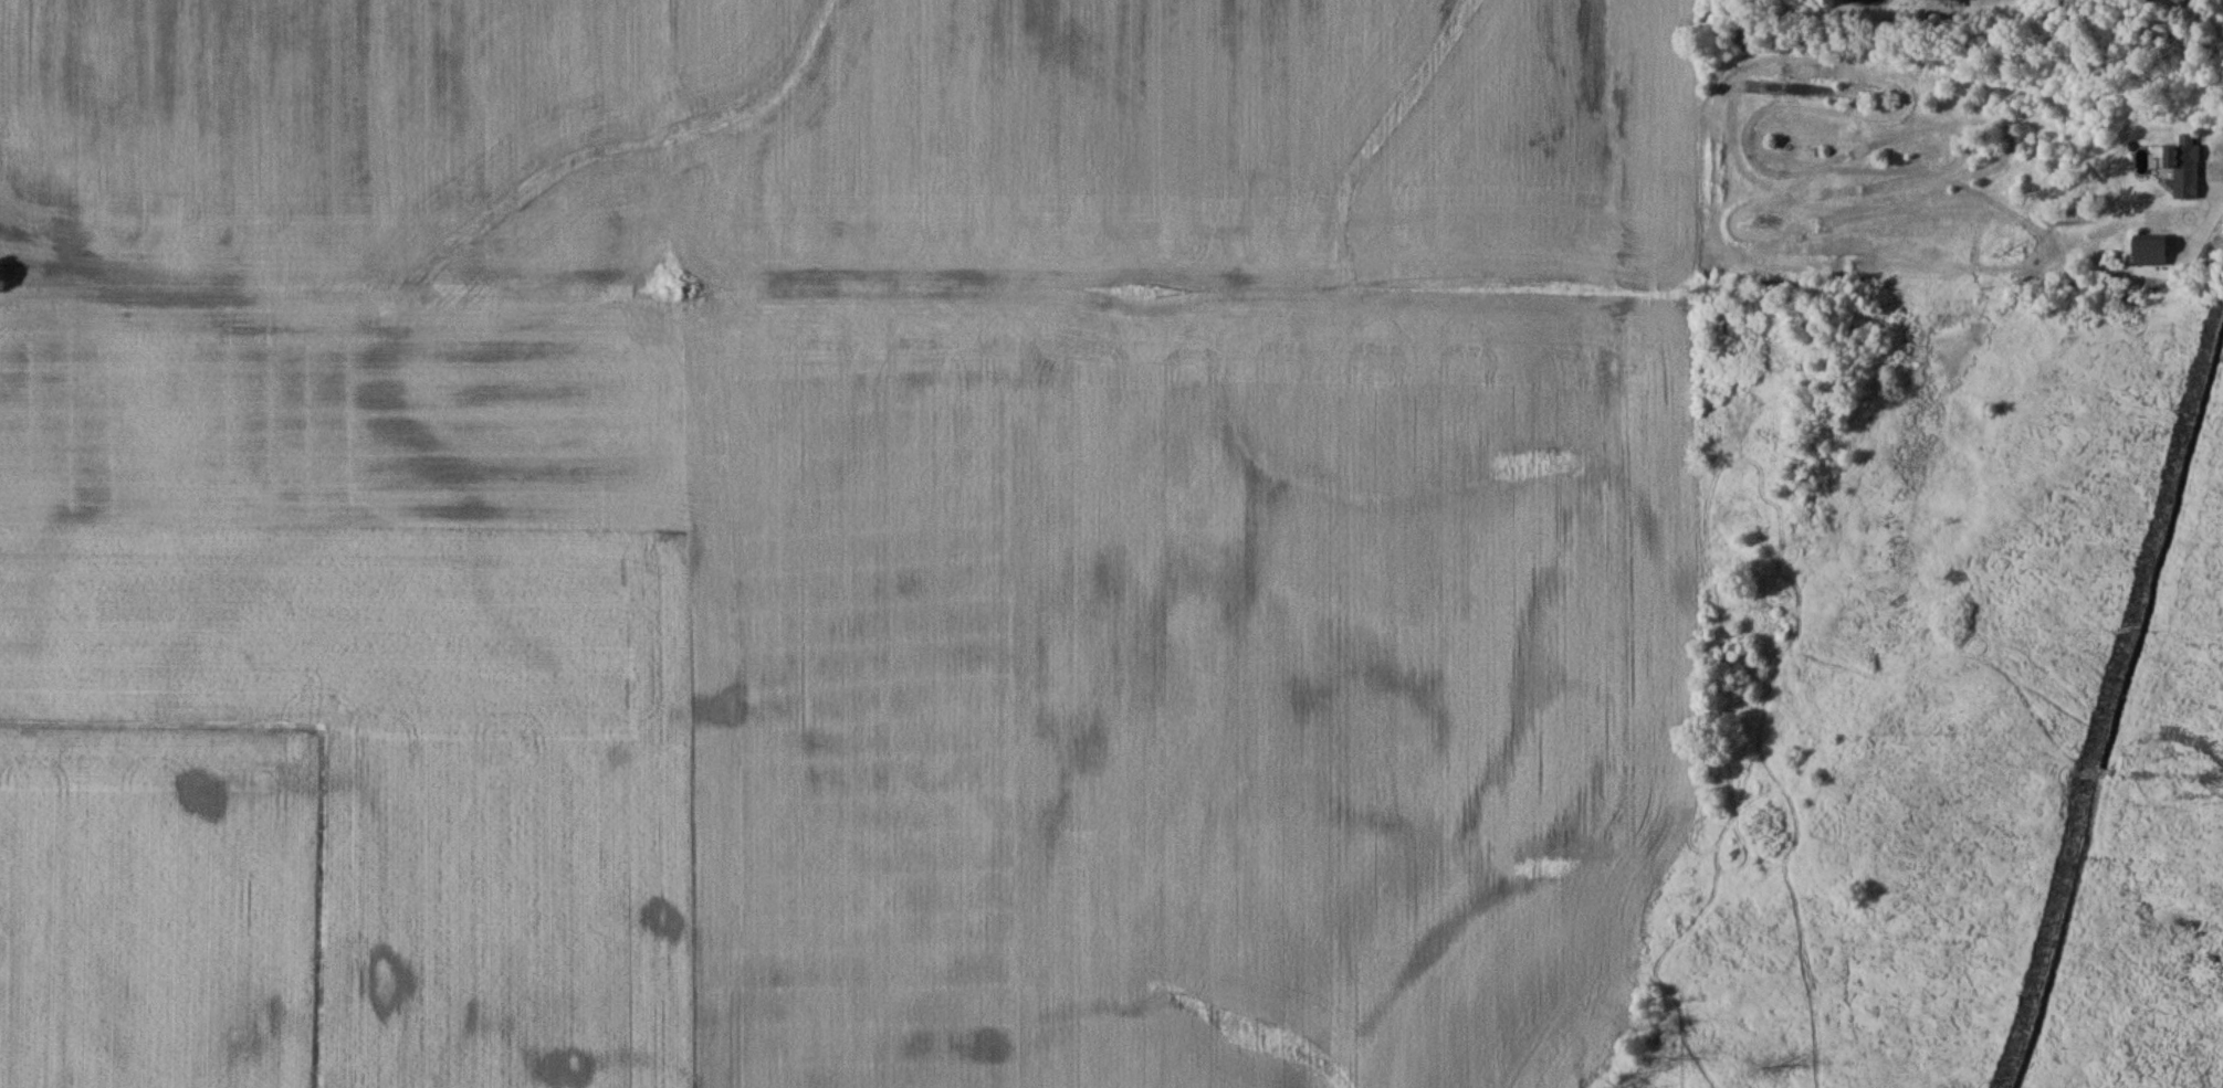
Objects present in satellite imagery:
building: (2184, 165)
road: (2215, 209)
building: (2150, 250)

